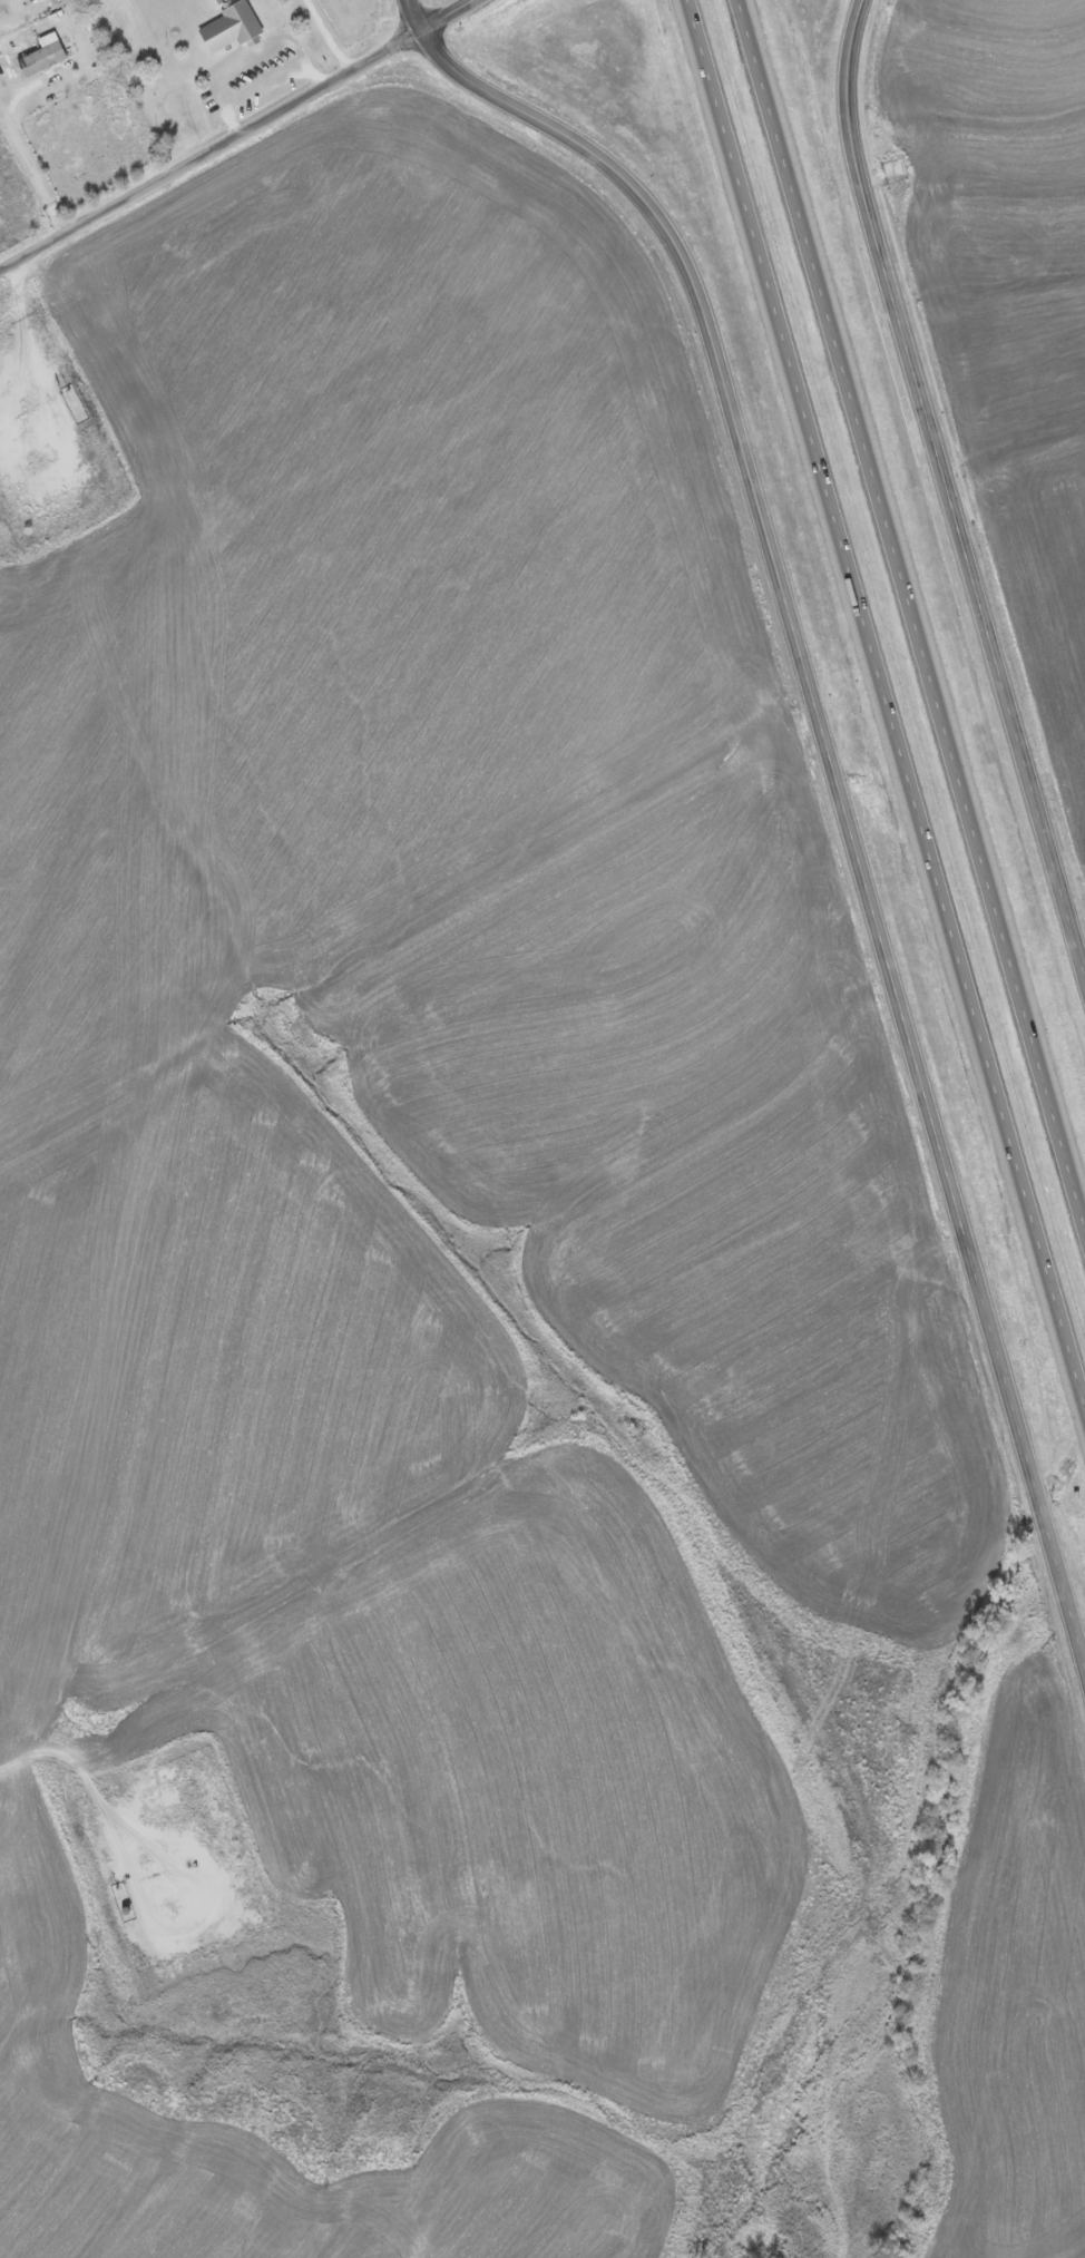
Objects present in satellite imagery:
road: (413, 18)
road: (447, 18)
building: (233, 26)
road: (334, 36)
building: (45, 57)
road: (260, 81)
road: (22, 150)
road: (208, 155)
road: (952, 488)
road: (910, 612)
road: (886, 698)
building: (907, 783)
road: (842, 790)
building: (1043, 1260)
road: (63, 1753)

